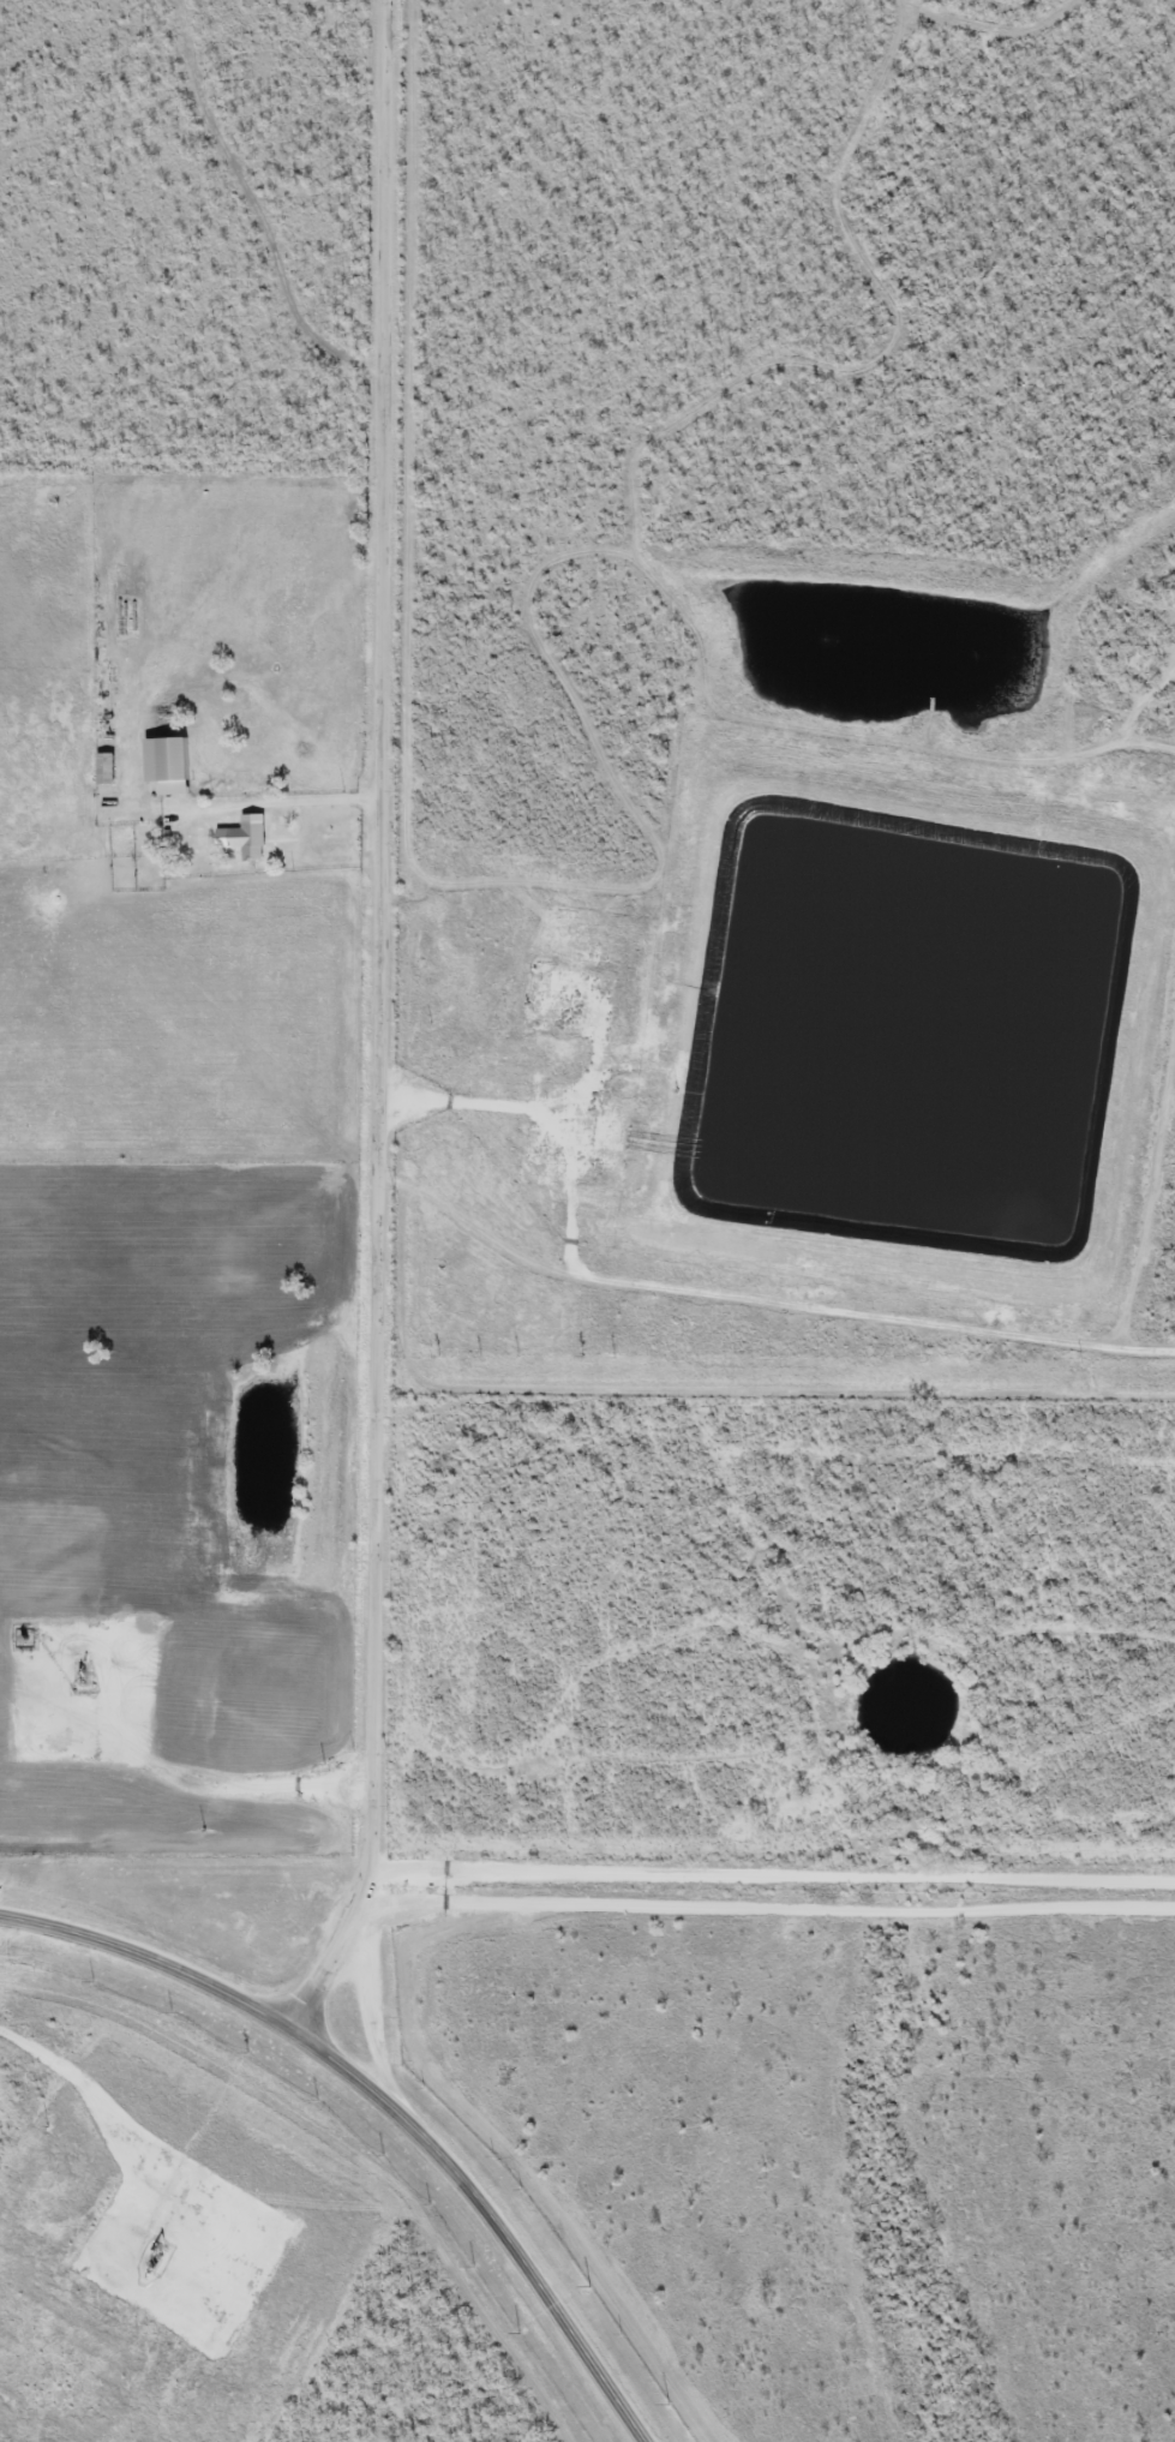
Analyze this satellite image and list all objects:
building: (170, 767)
building: (104, 772)
building: (248, 840)
road: (380, 936)
road: (694, 1300)
road: (180, 1760)
road: (775, 1877)
road: (670, 1913)
road: (335, 1955)
road: (382, 2102)
road: (131, 2159)

